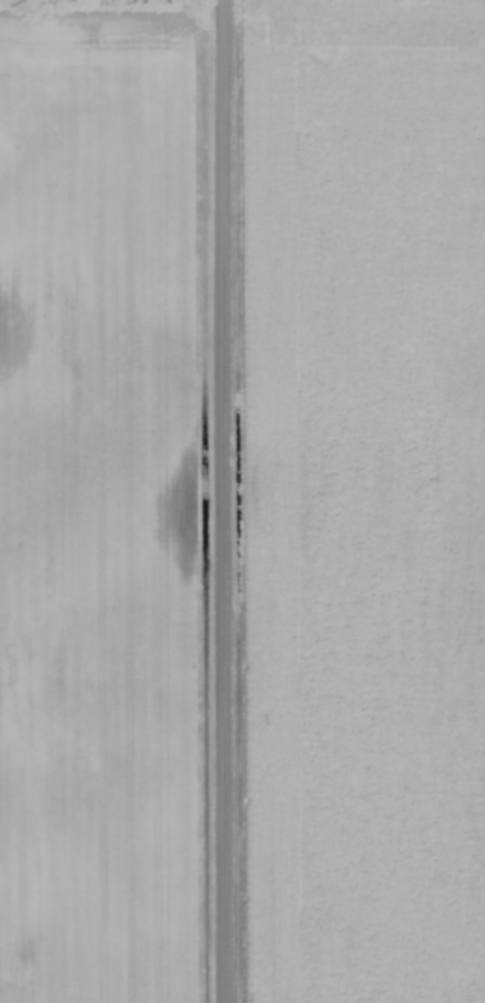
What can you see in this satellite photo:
road: (217, 501)

